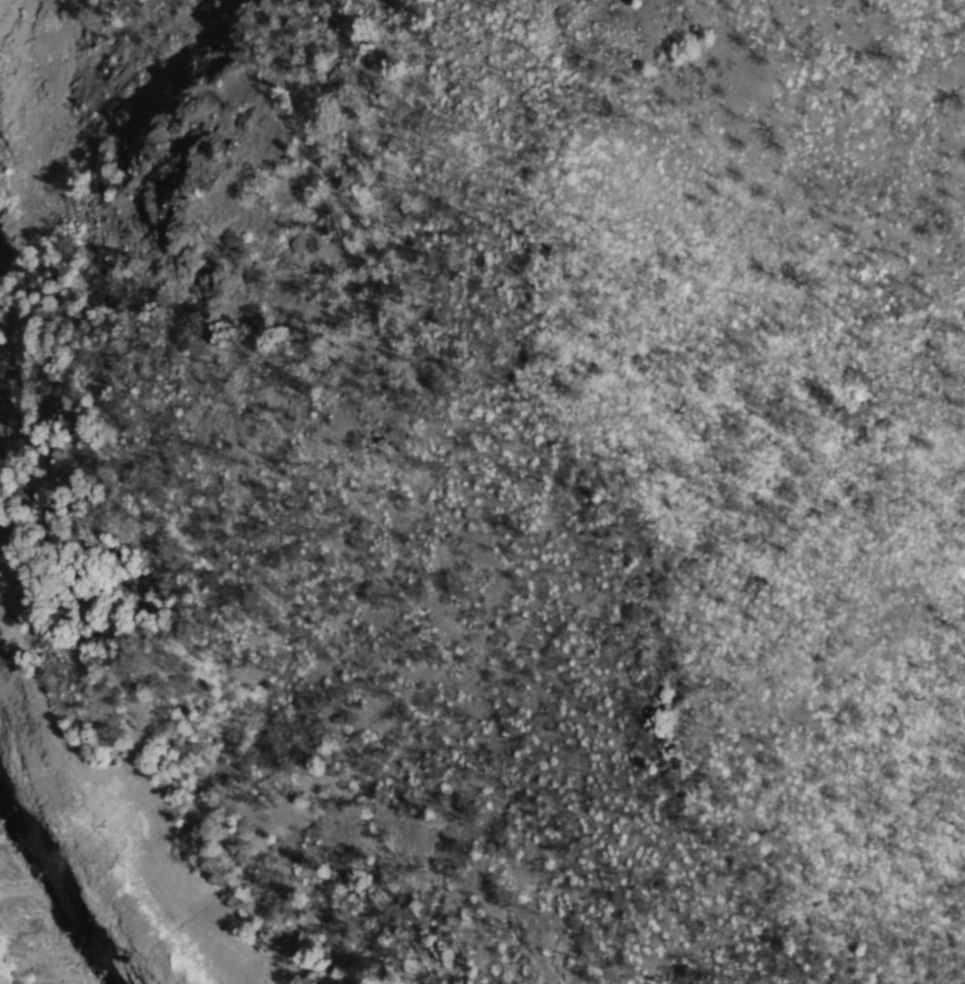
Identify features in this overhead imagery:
river: (73, 895)

